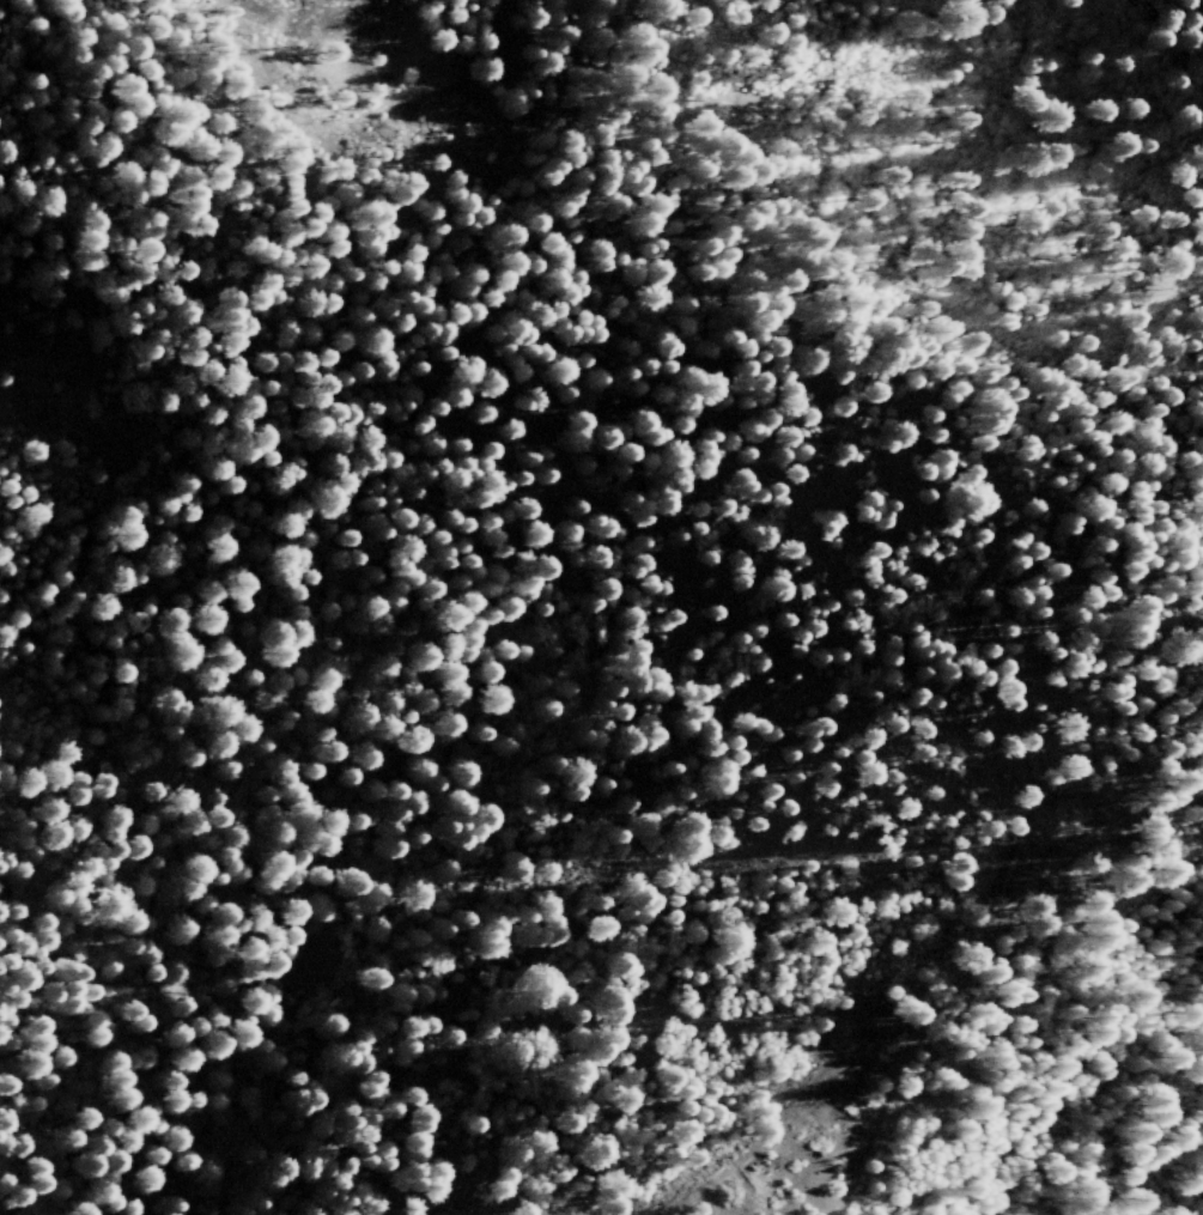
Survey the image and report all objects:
road: (982, 967)

